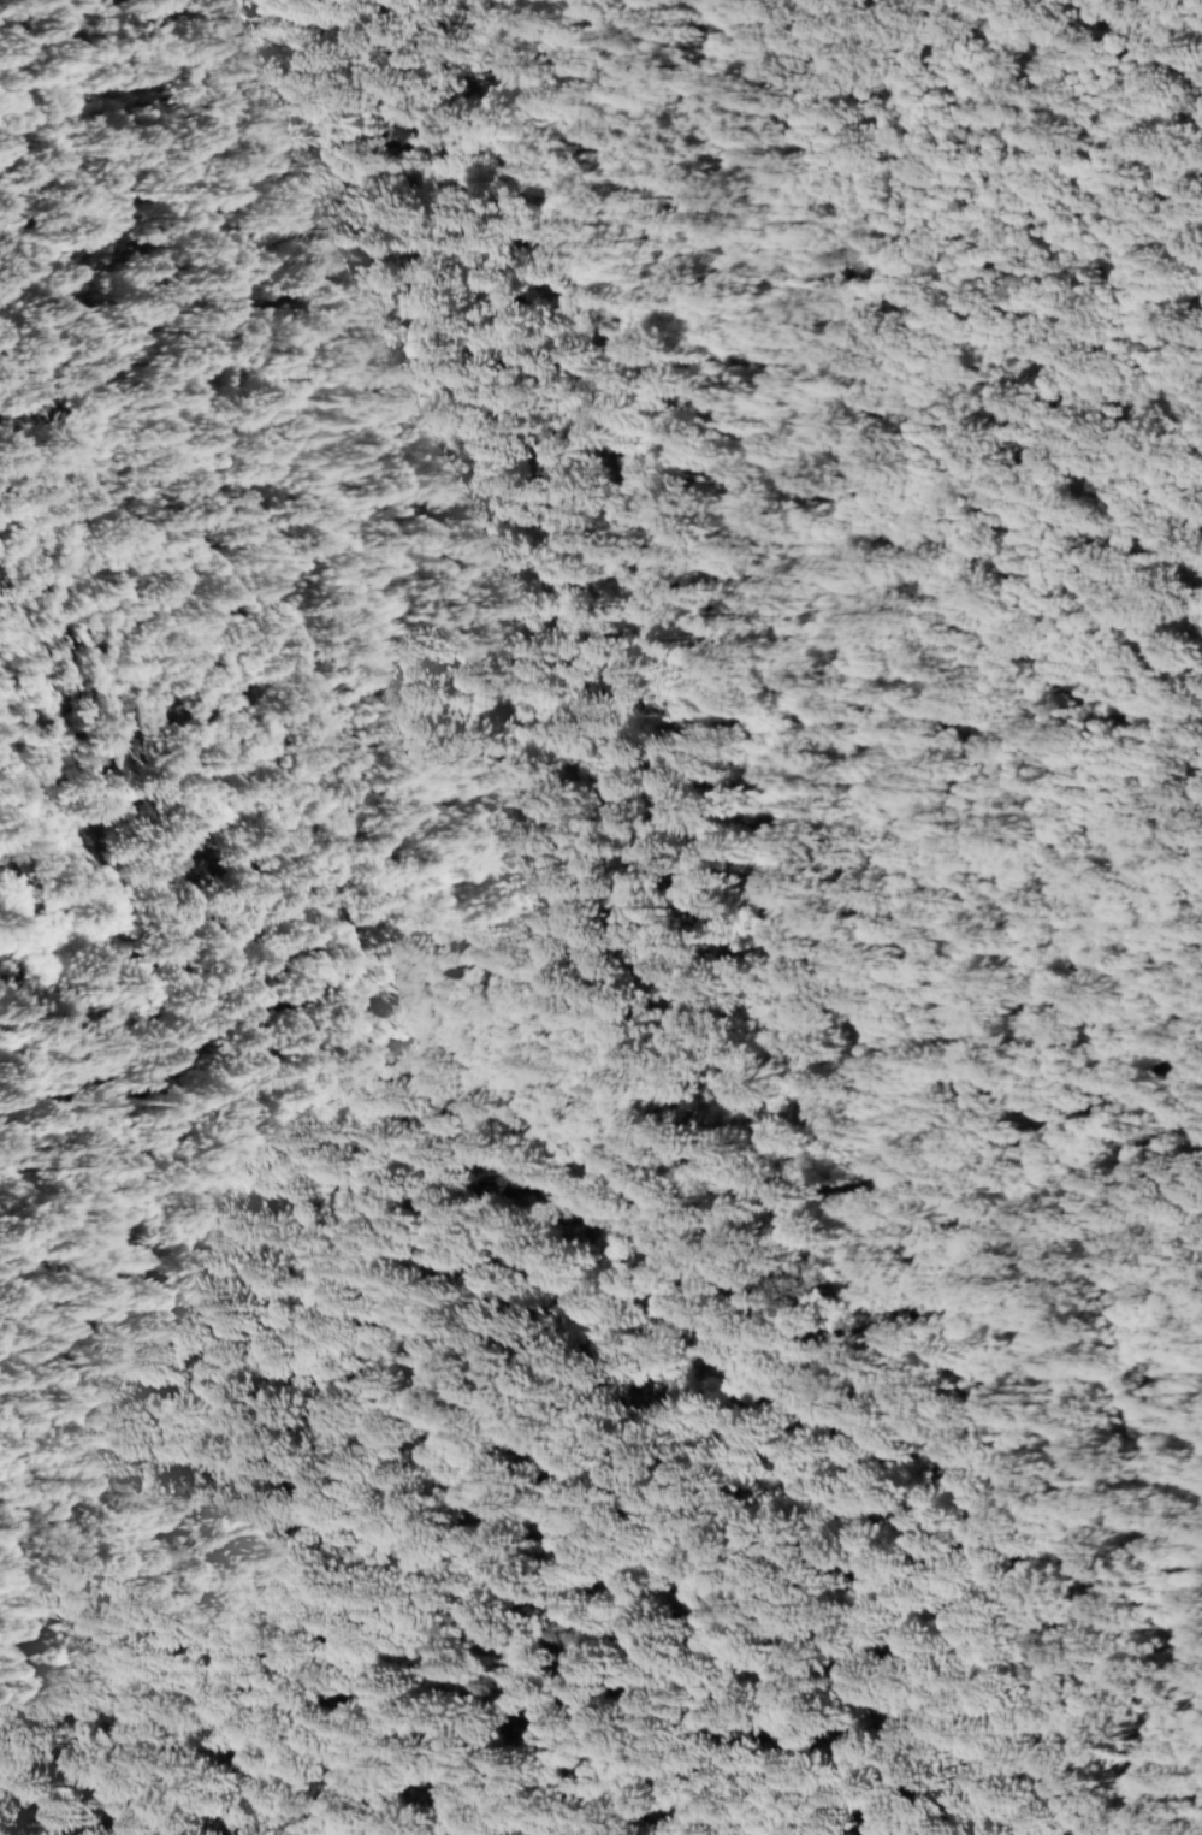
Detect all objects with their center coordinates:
road: (461, 42)
road: (490, 84)
road: (991, 450)
road: (309, 584)
road: (641, 592)
road: (428, 698)
road: (763, 1073)
road: (416, 1135)
road: (825, 1254)
road: (283, 1426)
road: (877, 1429)
road: (964, 1622)

